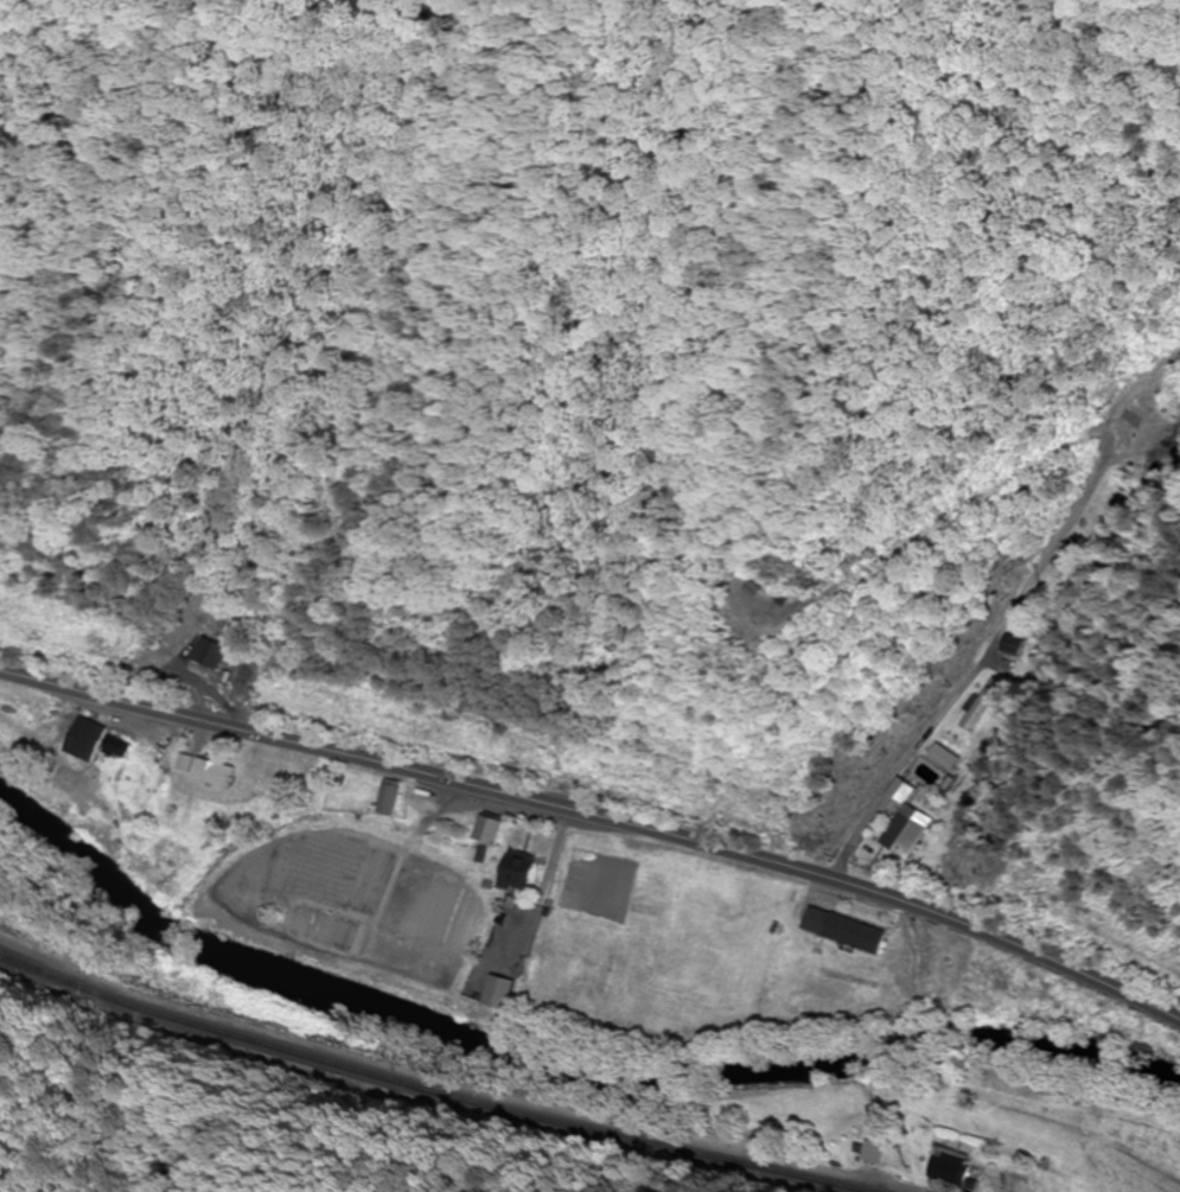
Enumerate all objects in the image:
building: (1015, 645)
building: (217, 652)
building: (983, 703)
building: (102, 741)
building: (293, 777)
building: (211, 780)
building: (902, 790)
building: (391, 799)
road: (599, 814)
building: (490, 829)
building: (907, 831)
building: (521, 871)
building: (861, 933)
building: (504, 993)
river: (559, 1070)
road: (448, 1081)
railway: (426, 1086)
building: (867, 1152)
building: (950, 1171)

